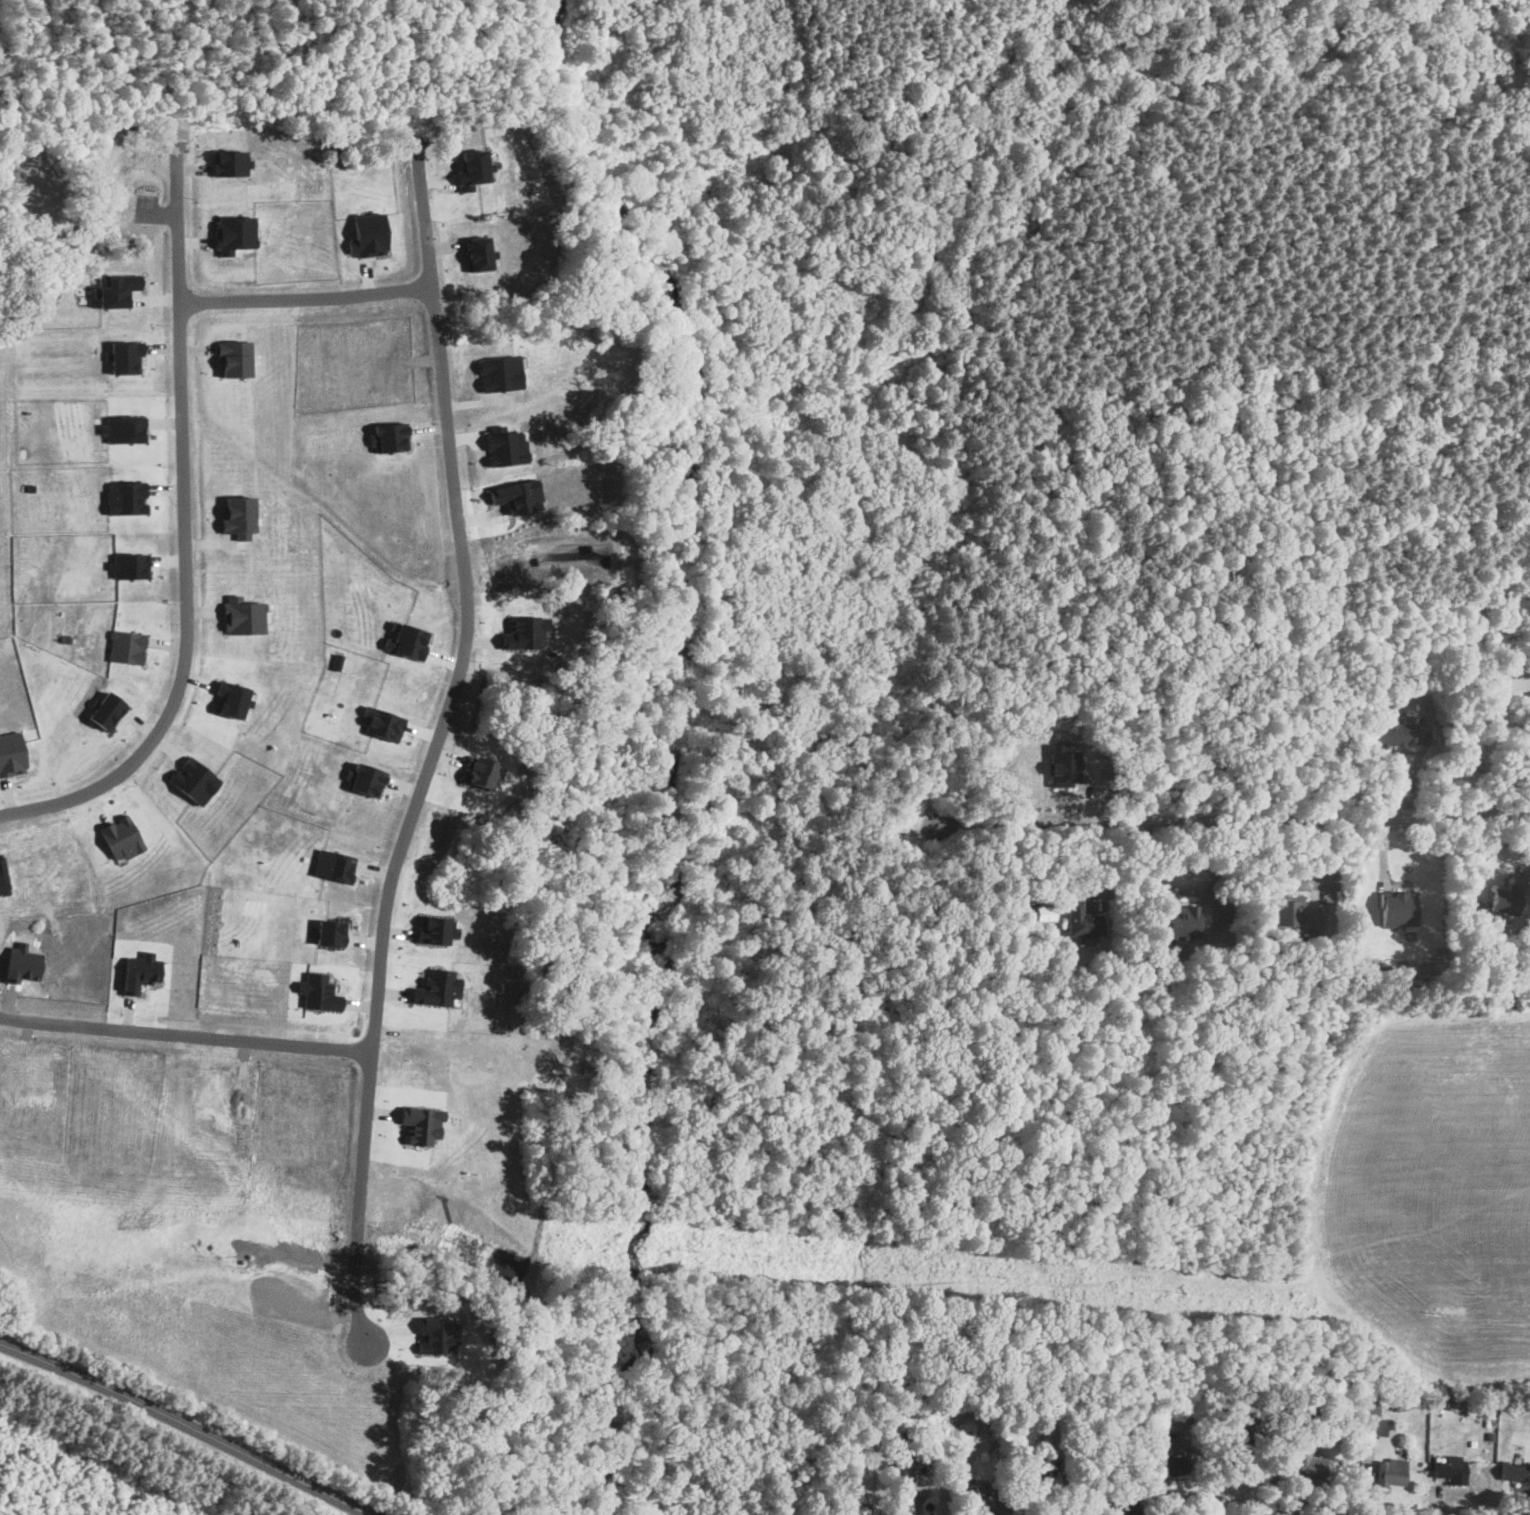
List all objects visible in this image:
road: (306, 298)
road: (186, 535)
building: (1528, 699)
building: (1397, 732)
road: (433, 748)
building: (1064, 766)
road: (1232, 819)
road: (1186, 889)
building: (1505, 899)
building: (1396, 909)
building: (1293, 914)
building: (1082, 920)
building: (1180, 921)
road: (184, 1033)
building: (1375, 1421)
road: (185, 1424)
building: (1232, 1454)
building: (1169, 1466)
building: (1309, 1466)
building: (1037, 1471)
building: (1448, 1471)
building: (1389, 1473)
building: (1510, 1473)
road: (1278, 1475)
road: (1206, 1477)
road: (973, 1498)
building: (994, 1504)
building: (1119, 1507)

